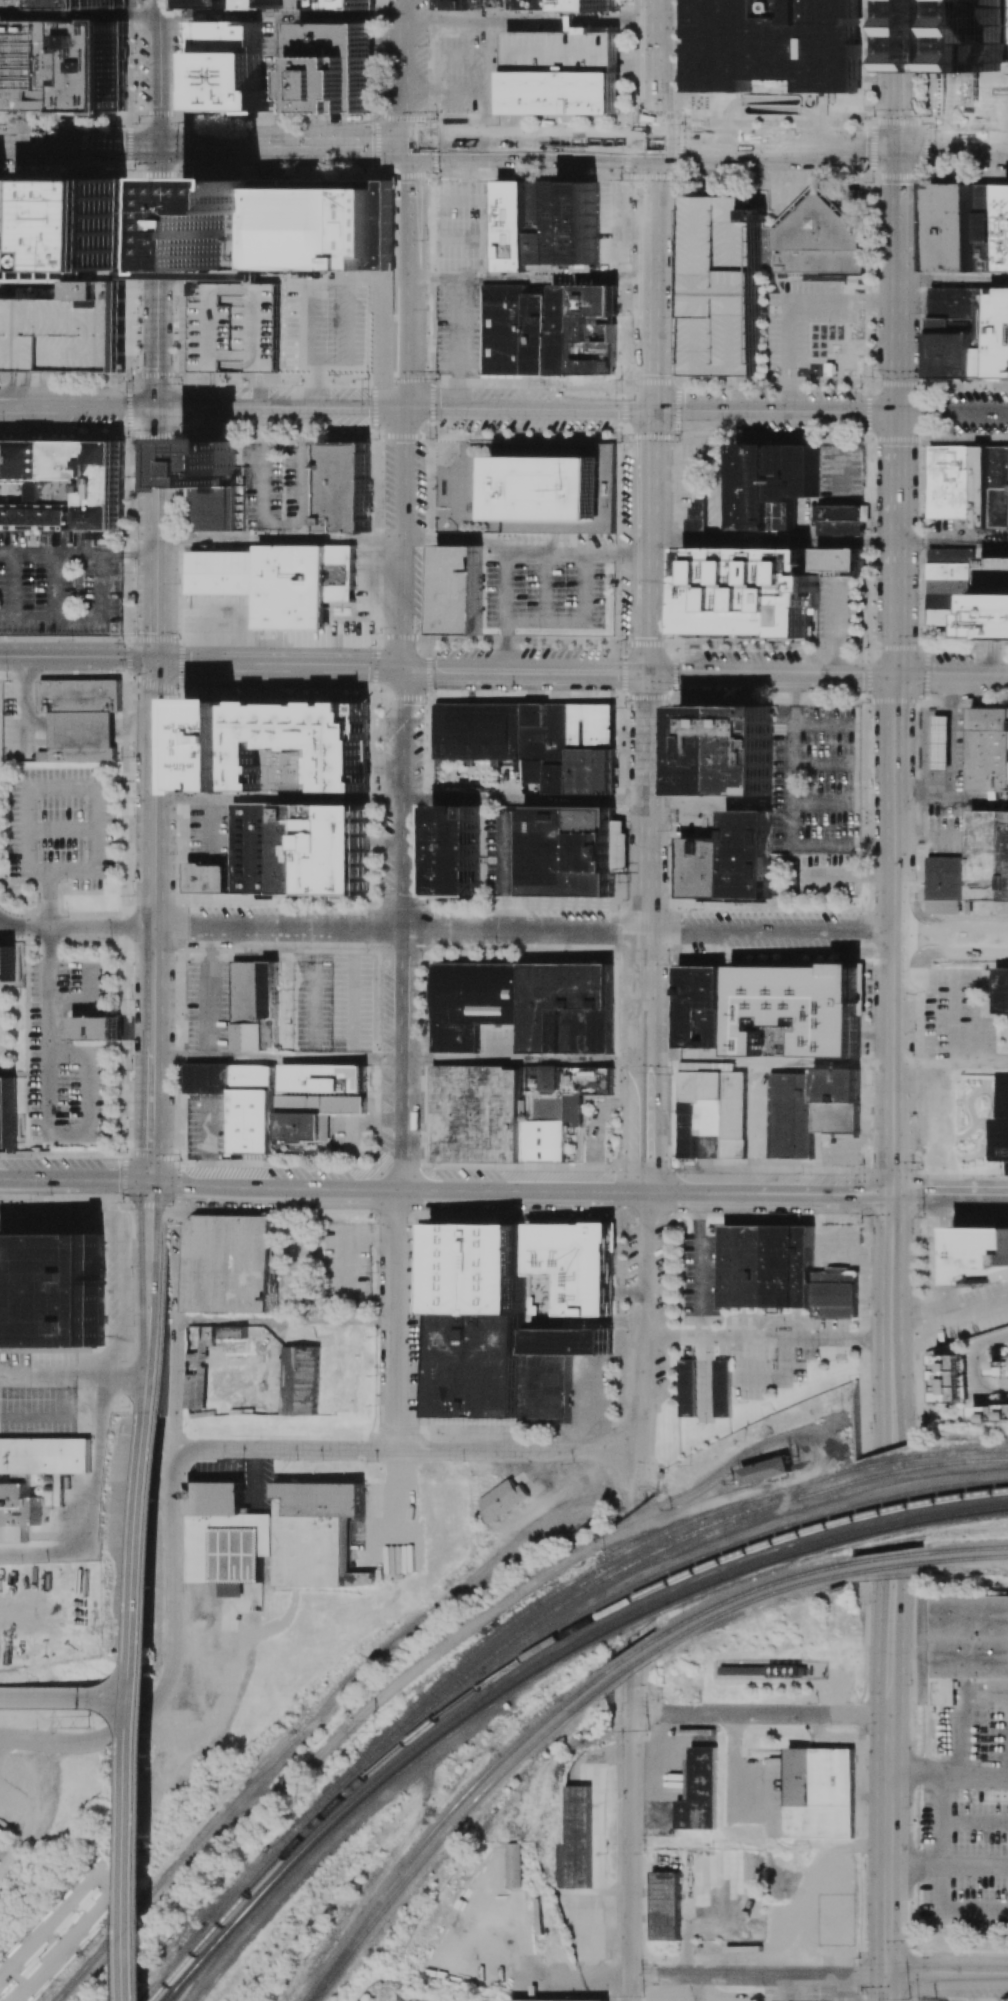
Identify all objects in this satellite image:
building: (64, 3)
building: (259, 4)
building: (531, 4)
building: (350, 5)
road: (79, 13)
road: (282, 15)
road: (530, 21)
building: (970, 35)
building: (775, 45)
parking lot: (281, 61)
building: (3, 64)
building: (42, 65)
parking garage: (42, 65)
building: (228, 66)
building: (335, 66)
building: (102, 67)
parking lot: (471, 69)
building: (562, 72)
road: (489, 84)
road: (447, 91)
traffic signals: (159, 146)
traffic signals: (406, 148)
road: (503, 148)
traffic signals: (653, 149)
traffic signals: (901, 151)
road: (157, 202)
building: (217, 216)
building: (542, 223)
building: (576, 223)
building: (323, 226)
parking lot: (467, 226)
building: (513, 226)
building: (129, 227)
parking lot: (610, 227)
building: (60, 228)
building: (993, 228)
building: (957, 229)
building: (823, 234)
building: (1007, 257)
road: (530, 279)
road: (954, 280)
road: (331, 282)
parking lot: (721, 286)
building: (723, 286)
building: (596, 299)
road: (789, 302)
building: (953, 302)
parking lot: (800, 317)
building: (952, 325)
building: (235, 327)
parking garage: (235, 327)
building: (286, 328)
parking lot: (332, 328)
building: (505, 328)
building: (563, 329)
building: (65, 330)
parking lot: (65, 330)
parking lot: (458, 331)
building: (540, 332)
building: (983, 332)
building: (999, 332)
road: (408, 334)
road: (652, 335)
road: (899, 336)
building: (596, 343)
building: (952, 355)
street lamp: (674, 375)
street lamp: (366, 378)
street lamp: (438, 378)
street lamp: (619, 378)
street lamp: (56, 383)
street lamp: (301, 384)
street lamp: (561, 387)
road: (9, 400)
road: (9, 403)
road: (87, 403)
traffic signals: (157, 405)
traffic signals: (407, 407)
road: (527, 409)
traffic signals: (652, 411)
traffic signals: (899, 413)
road: (953, 413)
street lamp: (3, 427)
street lamp: (85, 427)
building: (33, 435)
street lamp: (124, 435)
street lamp: (377, 438)
street lamp: (435, 438)
street lamp: (619, 441)
street lamp: (679, 444)
building: (183, 478)
street lamp: (134, 480)
building: (211, 481)
building: (954, 482)
building: (63, 484)
building: (773, 484)
street lamp: (281, 485)
building: (353, 487)
building: (550, 487)
building: (984, 487)
building: (1000, 487)
street lamp: (385, 507)
building: (697, 518)
building: (839, 520)
road: (156, 533)
road: (455, 537)
road: (279, 538)
road: (774, 541)
road: (953, 542)
road: (50, 553)
road: (128, 553)
road: (578, 553)
building: (952, 555)
building: (839, 559)
road: (505, 566)
road: (595, 567)
street lamp: (132, 570)
building: (952, 570)
road: (378, 573)
parking lot: (545, 579)
building: (280, 580)
road: (594, 580)
street lamp: (177, 582)
road: (12, 585)
road: (54, 585)
parking lot: (56, 586)
street lamp: (75, 586)
building: (952, 586)
building: (461, 589)
building: (750, 593)
building: (951, 601)
flagpole: (340, 611)
building: (996, 616)
road: (6, 617)
road: (88, 617)
building: (952, 617)
road: (224, 630)
street lamp: (424, 633)
street lamp: (132, 634)
parking lot: (319, 634)
street lamp: (671, 637)
street lamp: (71, 639)
street lamp: (623, 639)
road: (505, 640)
road: (78, 656)
traffic signals: (156, 662)
road: (279, 667)
traffic signals: (403, 669)
street lamp: (6, 670)
road: (526, 670)
traffic signals: (650, 671)
street lamp: (121, 672)
road: (773, 672)
traffic signals: (898, 673)
road: (952, 674)
building: (85, 682)
road: (263, 686)
street lamp: (508, 690)
building: (79, 696)
street lamp: (178, 697)
road: (25, 701)
street lamp: (424, 703)
street lamp: (623, 707)
building: (81, 729)
road: (81, 730)
road: (133, 730)
building: (301, 739)
building: (534, 740)
building: (209, 742)
building: (942, 742)
building: (989, 748)
building: (731, 749)
building: (77, 754)
street lamp: (131, 755)
road: (792, 756)
street lamp: (277, 764)
street lamp: (291, 764)
street lamp: (305, 765)
road: (383, 766)
street lamp: (118, 776)
street lamp: (175, 777)
road: (60, 787)
road: (126, 796)
road: (278, 799)
road: (525, 801)
road: (706, 803)
road: (154, 806)
street lamp: (37, 807)
street lamp: (83, 809)
street lamp: (131, 815)
parking lot: (61, 826)
road: (60, 829)
street lamp: (83, 848)
street lamp: (38, 849)
building: (456, 850)
building: (569, 851)
building: (290, 852)
street lamp: (175, 854)
building: (991, 854)
building: (751, 855)
road: (27, 859)
building: (706, 866)
road: (91, 869)
road: (849, 873)
building: (951, 877)
street lamp: (64, 881)
street lamp: (104, 883)
street lamp: (132, 894)
road: (48, 897)
street lamp: (38, 901)
street lamp: (422, 901)
street lamp: (67, 915)
road: (11, 925)
road: (88, 926)
road: (125, 926)
road: (401, 929)
road: (647, 931)
road: (580, 932)
road: (894, 933)
street lamp: (109, 937)
street lamp: (36, 943)
street lamp: (293, 947)
street lamp: (57, 950)
street lamp: (494, 950)
street lamp: (67, 959)
street lamp: (175, 959)
building: (7, 963)
road: (47, 964)
street lamp: (420, 964)
building: (1002, 990)
street lamp: (67, 992)
road: (207, 992)
road: (314, 993)
road: (349, 993)
street lamp: (131, 998)
road: (153, 998)
road: (86, 1002)
building: (525, 1004)
building: (254, 1007)
building: (772, 1010)
road: (46, 1027)
building: (94, 1028)
street lamp: (174, 1038)
road: (124, 1044)
parking lot: (66, 1056)
road: (276, 1058)
road: (523, 1060)
road: (794, 1060)
street lamp: (67, 1062)
road: (951, 1062)
road: (87, 1072)
street lamp: (130, 1074)
building: (323, 1078)
building: (549, 1078)
building: (836, 1101)
building: (253, 1106)
building: (717, 1106)
building: (572, 1109)
road: (152, 1113)
road: (45, 1114)
building: (7, 1115)
building: (792, 1116)
building: (488, 1117)
street lamp: (65, 1124)
building: (687, 1141)
building: (1007, 1148)
street lamp: (124, 1150)
road: (62, 1152)
road: (151, 1155)
street lamp: (180, 1158)
road: (375, 1163)
road: (124, 1176)
road: (76, 1177)
traffic signals: (152, 1182)
road: (178, 1182)
road: (398, 1190)
road: (770, 1193)
traffic signals: (894, 1195)
road: (951, 1195)
street lamp: (121, 1201)
street lamp: (171, 1204)
road: (150, 1206)
road: (259, 1209)
road: (131, 1221)
road: (124, 1241)
building: (982, 1252)
road: (941, 1259)
building: (230, 1262)
building: (747, 1265)
building: (792, 1266)
building: (480, 1270)
building: (575, 1276)
building: (52, 1289)
building: (835, 1293)
road: (151, 1304)
road: (949, 1319)
road: (287, 1320)
road: (892, 1321)
building: (231, 1331)
road: (767, 1338)
building: (567, 1341)
road: (643, 1353)
building: (476, 1365)
road: (979, 1366)
building: (999, 1367)
road: (397, 1368)
building: (198, 1371)
road: (50, 1374)
road: (124, 1377)
building: (948, 1378)
building: (301, 1380)
road: (913, 1387)
building: (547, 1388)
building: (686, 1388)
building: (721, 1388)
road: (864, 1397)
building: (989, 1410)
road: (45, 1413)
road: (406, 1451)
road: (175, 1456)
building: (767, 1470)
building: (41, 1485)
road: (614, 1495)
building: (506, 1498)
road: (93, 1504)
building: (18, 1505)
building: (579, 1532)
building: (269, 1534)
road: (610, 1536)
railway: (638, 1562)
building: (361, 1578)
building: (253, 1595)
railway: (530, 1610)
road: (151, 1611)
building: (964, 1645)
road: (890, 1650)
railway: (529, 1656)
railway: (538, 1669)
building: (761, 1670)
railway: (601, 1680)
street lamp: (909, 1684)
railway: (607, 1687)
road: (632, 1697)
road: (68, 1699)
street lamp: (699, 1701)
road: (324, 1710)
road: (137, 1713)
road: (760, 1714)
power tower: (88, 1717)
power tower: (379, 1719)
road: (859, 1719)
street lamp: (799, 1725)
power tower: (86, 1728)
power tower: (379, 1731)
power tower: (647, 1731)
street lamp: (864, 1734)
road: (98, 1741)
road: (948, 1772)
building: (699, 1790)
road: (889, 1790)
road: (911, 1792)
building: (819, 1793)
street lamp: (909, 1807)
building: (3, 1835)
road: (331, 1840)
building: (574, 1840)
road: (614, 1846)
street lamp: (642, 1852)
road: (631, 1857)
building: (516, 1865)
road: (948, 1868)
street lamp: (864, 1869)
railway: (167, 1872)
road: (807, 1881)
road: (861, 1903)
building: (665, 1905)
road: (956, 1907)
building: (837, 1909)
road: (888, 1922)
street lamp: (913, 1948)
street lamp: (858, 1957)
street lamp: (609, 1959)
road: (759, 1975)
traffic signals: (888, 1977)
road: (948, 1977)
street lamp: (760, 1986)
road: (887, 1989)
street lamp: (860, 1995)
street lamp: (910, 1995)
power tower: (644, 1997)
power tower: (908, 1999)
building: (549, 2000)

